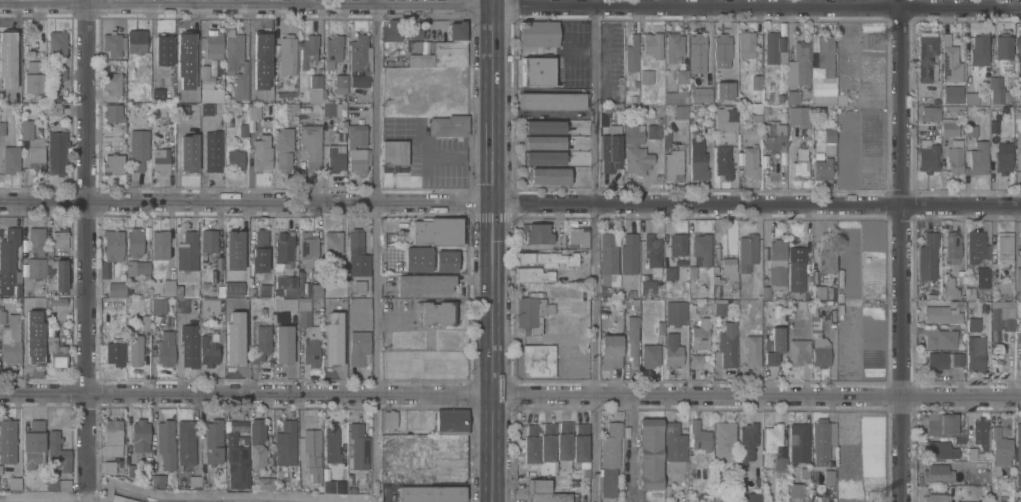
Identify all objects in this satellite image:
road: (510, 5)
building: (392, 30)
building: (456, 30)
building: (413, 32)
building: (537, 32)
building: (136, 40)
building: (57, 43)
building: (113, 43)
building: (211, 43)
building: (7, 44)
building: (653, 44)
building: (746, 44)
building: (673, 46)
building: (773, 46)
building: (1003, 46)
building: (262, 47)
building: (415, 47)
building: (979, 48)
building: (187, 49)
building: (163, 50)
building: (333, 50)
building: (308, 51)
building: (232, 52)
building: (697, 52)
building: (632, 53)
building: (1018, 53)
building: (287, 54)
building: (441, 54)
building: (722, 54)
building: (927, 57)
building: (359, 59)
building: (950, 61)
building: (799, 64)
building: (538, 65)
building: (143, 68)
building: (14, 73)
building: (60, 73)
building: (824, 73)
building: (205, 76)
building: (256, 76)
building: (646, 76)
building: (682, 76)
building: (33, 77)
building: (538, 79)
building: (192, 80)
building: (316, 80)
building: (112, 82)
building: (756, 82)
building: (340, 83)
building: (240, 85)
building: (620, 88)
building: (998, 90)
building: (257, 91)
building: (722, 91)
building: (324, 93)
building: (702, 94)
building: (952, 94)
building: (157, 95)
building: (177, 95)
building: (285, 95)
building: (676, 97)
building: (781, 97)
building: (793, 97)
building: (971, 98)
building: (551, 100)
building: (840, 101)
building: (290, 108)
building: (332, 108)
building: (954, 108)
building: (53, 109)
building: (206, 110)
building: (254, 111)
building: (680, 111)
building: (767, 111)
building: (182, 112)
building: (113, 113)
building: (783, 113)
building: (930, 113)
building: (799, 116)
building: (756, 117)
building: (727, 118)
building: (1017, 120)
building: (602, 122)
building: (344, 123)
building: (449, 125)
building: (949, 126)
building: (994, 126)
building: (542, 127)
building: (2, 128)
building: (243, 129)
building: (653, 130)
building: (971, 130)
building: (119, 134)
building: (829, 135)
building: (774, 137)
building: (543, 143)
building: (666, 143)
building: (311, 145)
building: (33, 147)
building: (283, 147)
building: (138, 148)
building: (358, 148)
building: (611, 149)
building: (636, 149)
building: (212, 151)
building: (57, 152)
building: (262, 152)
building: (188, 153)
building: (394, 155)
building: (927, 156)
building: (954, 156)
building: (336, 157)
building: (543, 158)
building: (11, 159)
building: (161, 159)
building: (698, 159)
building: (977, 159)
building: (234, 160)
building: (724, 162)
building: (750, 162)
building: (1002, 162)
building: (112, 164)
building: (673, 164)
building: (799, 164)
building: (822, 169)
building: (548, 177)
road: (510, 204)
building: (437, 231)
building: (404, 232)
building: (536, 233)
building: (578, 236)
building: (388, 237)
building: (60, 238)
building: (208, 240)
building: (36, 241)
building: (134, 241)
building: (333, 241)
building: (308, 243)
road: (85, 244)
building: (160, 244)
building: (677, 244)
building: (113, 245)
building: (1005, 246)
building: (1020, 246)
building: (284, 247)
building: (702, 247)
building: (952, 247)
building: (976, 247)
road: (377, 249)
building: (234, 250)
road: (597, 250)
building: (49, 251)
building: (188, 251)
building: (260, 251)
road: (491, 251)
building: (747, 251)
road: (902, 251)
building: (629, 253)
building: (653, 253)
building: (357, 254)
building: (609, 254)
building: (418, 255)
building: (928, 256)
building: (547, 258)
building: (48, 259)
building: (9, 260)
building: (826, 261)
building: (444, 262)
building: (776, 266)
building: (35, 267)
building: (142, 267)
building: (729, 268)
building: (343, 271)
building: (798, 271)
building: (104, 272)
building: (670, 272)
building: (60, 274)
building: (533, 274)
building: (961, 276)
building: (692, 277)
building: (981, 277)
building: (291, 281)
building: (716, 281)
building: (1018, 282)
building: (424, 283)
building: (300, 284)
building: (169, 286)
building: (359, 286)
building: (647, 286)
building: (734, 286)
building: (114, 288)
building: (233, 288)
building: (949, 288)
building: (265, 289)
building: (609, 289)
building: (220, 290)
building: (314, 290)
building: (252, 291)
building: (631, 292)
building: (818, 292)
building: (969, 293)
building: (707, 294)
building: (56, 301)
building: (285, 303)
building: (956, 303)
building: (632, 304)
building: (158, 305)
building: (182, 305)
building: (211, 305)
building: (720, 308)
building: (436, 311)
building: (531, 312)
building: (32, 314)
building: (231, 315)
building: (941, 315)
building: (1002, 315)
building: (2, 317)
building: (681, 321)
building: (145, 322)
building: (973, 324)
building: (660, 327)
building: (632, 330)
building: (700, 334)
building: (1018, 335)
building: (939, 338)
building: (11, 339)
building: (310, 339)
building: (992, 339)
building: (818, 342)
building: (189, 344)
building: (261, 344)
building: (283, 344)
building: (727, 344)
building: (359, 346)
building: (774, 346)
building: (210, 347)
building: (166, 348)
building: (135, 349)
building: (47, 350)
building: (332, 350)
building: (611, 350)
building: (673, 350)
building: (37, 351)
building: (115, 351)
building: (753, 351)
building: (798, 351)
building: (56, 352)
building: (975, 353)
building: (234, 354)
building: (650, 355)
building: (1020, 357)
building: (936, 359)
building: (957, 359)
building: (538, 360)
building: (697, 361)
road: (510, 398)
building: (389, 419)
building: (451, 422)
building: (941, 424)
building: (236, 427)
building: (980, 433)
building: (140, 435)
building: (700, 436)
building: (772, 436)
building: (112, 437)
road: (631, 439)
building: (8, 440)
building: (564, 440)
building: (823, 440)
building: (960, 440)
building: (212, 441)
building: (547, 441)
building: (724, 441)
building: (256, 442)
building: (580, 442)
building: (675, 442)
building: (747, 442)
building: (34, 443)
building: (185, 443)
building: (332, 443)
building: (165, 444)
building: (285, 444)
building: (531, 444)
building: (798, 444)
building: (440, 445)
building: (359, 446)
building: (1001, 448)
building: (940, 450)
building: (58, 452)
building: (311, 452)
building: (651, 453)
building: (971, 454)
building: (1018, 457)
building: (610, 458)
building: (236, 459)
building: (780, 463)
building: (112, 467)
building: (130, 469)
building: (994, 469)
building: (446, 470)
building: (803, 473)
building: (937, 474)
building: (828, 476)
building: (157, 479)
building: (193, 481)
building: (13, 482)
building: (263, 483)
building: (58, 485)
building: (283, 485)
building: (328, 486)
building: (538, 486)
building: (668, 488)
building: (980, 488)
building: (985, 488)
building: (794, 491)
building: (388, 492)
building: (431, 493)
building: (547, 497)
building: (753, 497)
building: (725, 498)
building: (935, 498)
building: (984, 499)

